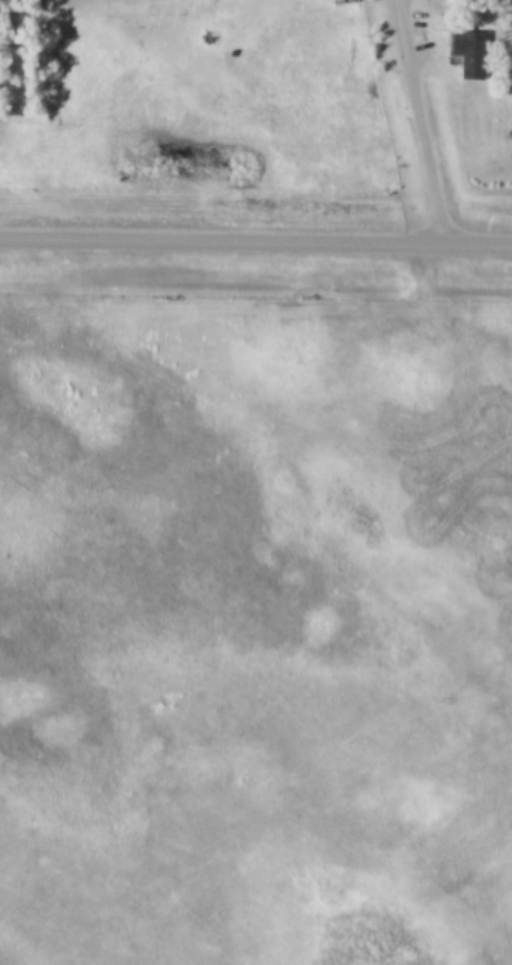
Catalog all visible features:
building: (468, 54)
road: (422, 118)
road: (255, 235)

